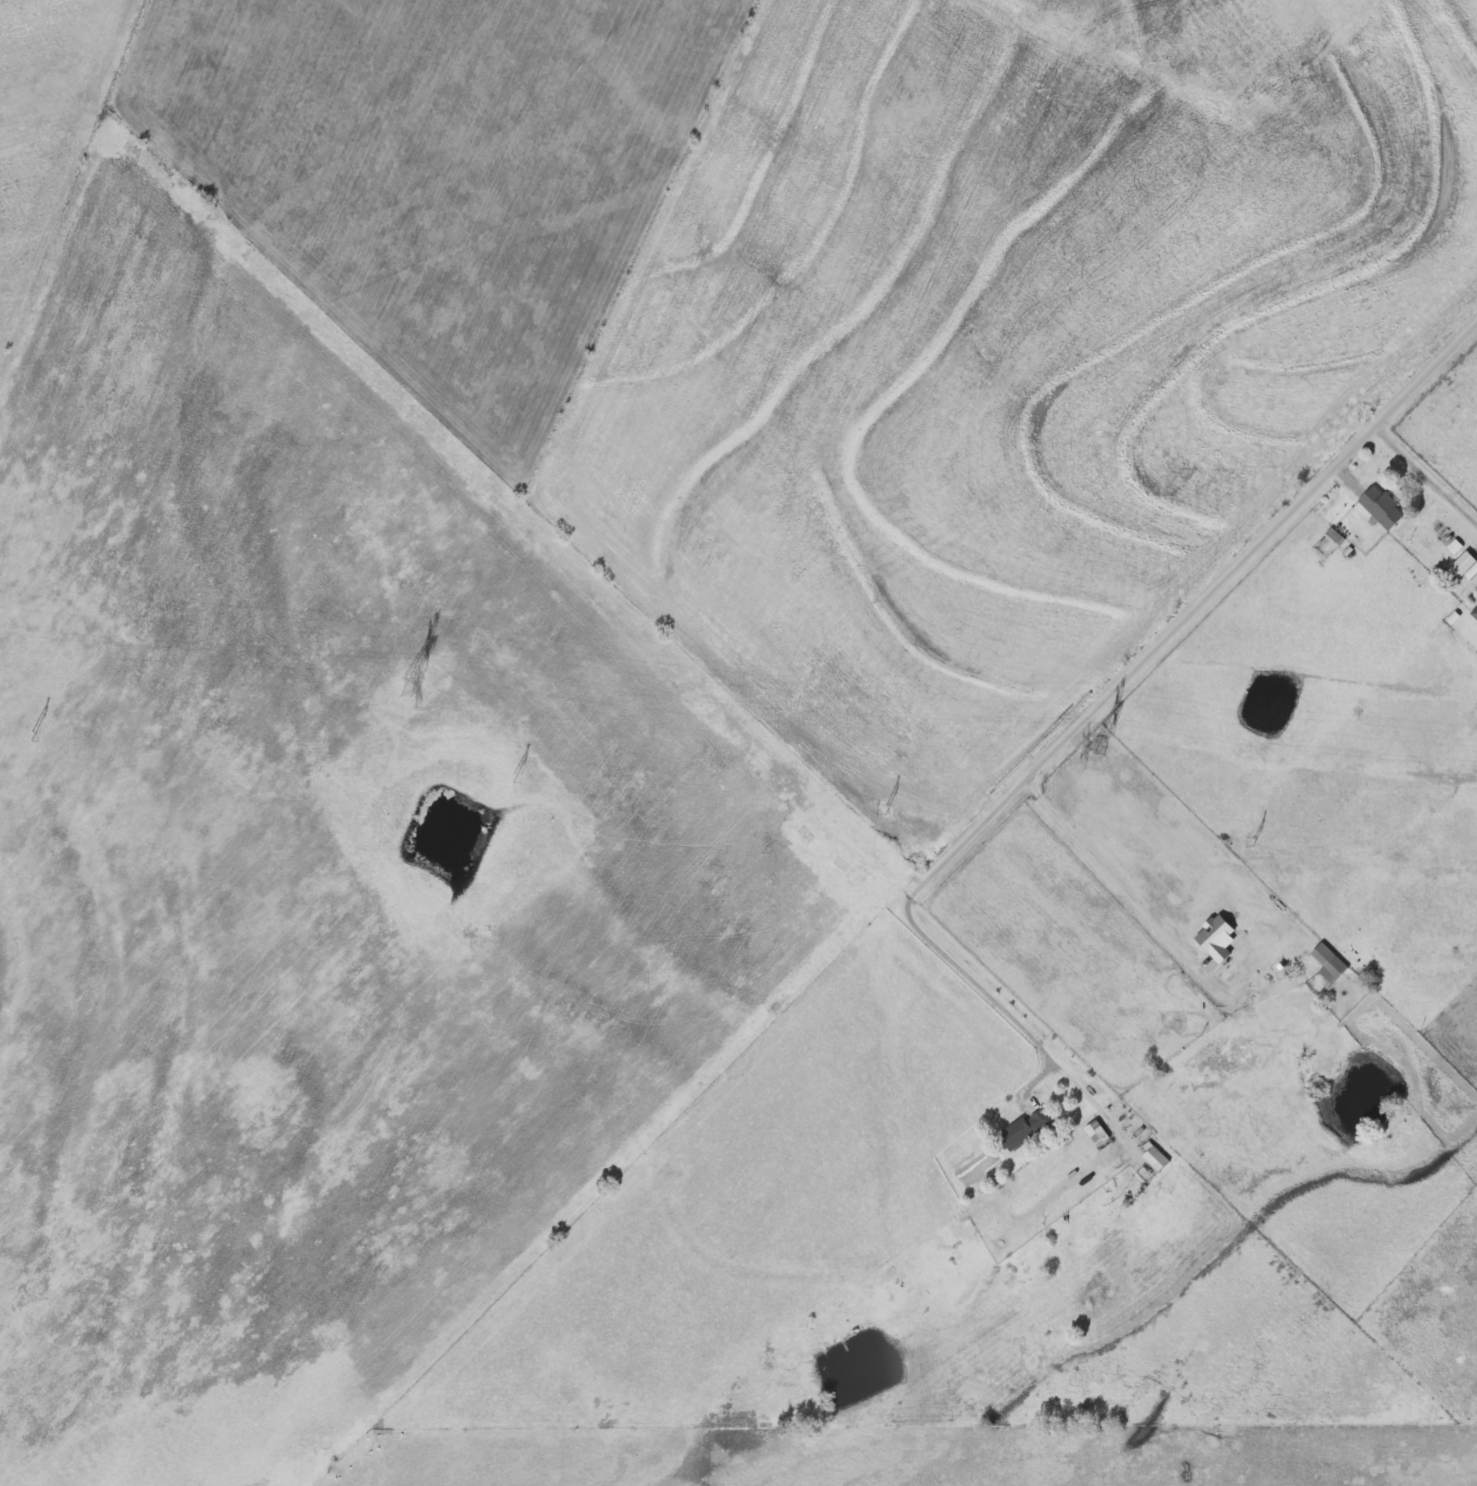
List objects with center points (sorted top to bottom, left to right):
road: (1426, 476)
building: (1380, 506)
building: (1463, 563)
building: (1474, 611)
power tower: (407, 684)
road: (1098, 704)
power tower: (1101, 746)
road: (1150, 918)
building: (1328, 962)
building: (1024, 1128)
building: (1095, 1132)
building: (1153, 1157)

